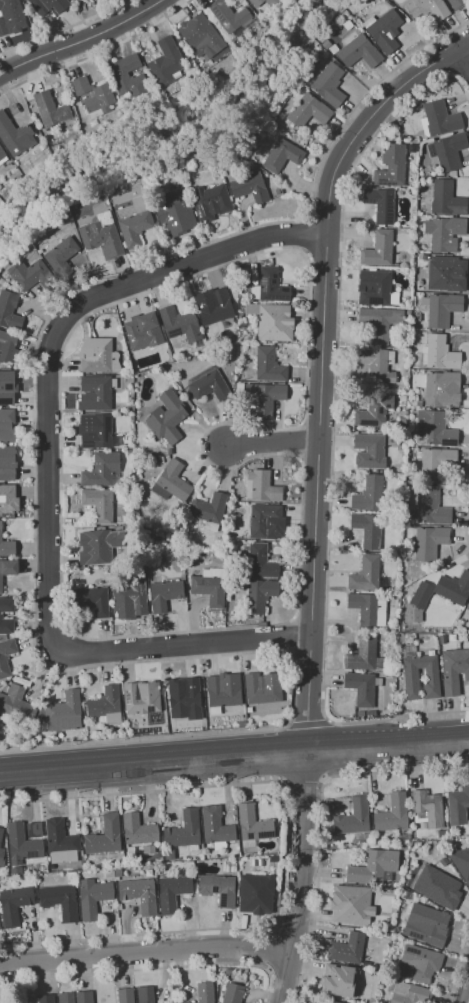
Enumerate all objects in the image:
building: (260, 3)
building: (456, 4)
building: (48, 6)
building: (427, 8)
building: (8, 13)
building: (227, 16)
building: (383, 30)
building: (200, 36)
road: (80, 40)
building: (359, 52)
road: (465, 57)
building: (165, 63)
building: (126, 77)
building: (328, 85)
building: (102, 93)
building: (50, 109)
building: (308, 111)
building: (438, 119)
building: (14, 136)
building: (448, 151)
building: (281, 155)
building: (5, 161)
building: (391, 167)
building: (249, 187)
building: (445, 199)
building: (210, 202)
building: (380, 205)
building: (176, 213)
building: (133, 222)
building: (444, 233)
building: (101, 236)
building: (378, 249)
building: (61, 257)
building: (426, 257)
building: (30, 275)
building: (443, 276)
building: (270, 287)
building: (373, 287)
building: (216, 308)
building: (441, 310)
building: (9, 311)
building: (271, 321)
building: (380, 323)
building: (179, 324)
building: (143, 332)
building: (7, 340)
building: (438, 353)
building: (95, 355)
building: (268, 365)
building: (377, 365)
road: (321, 366)
building: (208, 386)
building: (238, 388)
building: (442, 389)
building: (94, 393)
building: (5, 396)
building: (265, 398)
building: (373, 411)
building: (166, 417)
building: (6, 425)
building: (434, 429)
building: (94, 431)
road: (273, 445)
building: (369, 451)
building: (435, 463)
building: (7, 464)
road: (53, 469)
building: (100, 470)
building: (170, 482)
building: (261, 487)
building: (6, 493)
building: (367, 494)
building: (98, 505)
building: (431, 508)
building: (208, 511)
building: (265, 523)
building: (367, 530)
building: (430, 541)
building: (6, 546)
building: (98, 546)
building: (259, 562)
building: (7, 570)
building: (367, 576)
building: (209, 586)
building: (441, 591)
building: (132, 594)
building: (163, 594)
building: (259, 594)
building: (94, 600)
building: (6, 605)
building: (468, 607)
building: (368, 609)
building: (5, 625)
building: (6, 656)
building: (364, 656)
building: (454, 669)
building: (410, 674)
building: (262, 688)
building: (362, 688)
building: (223, 690)
building: (141, 698)
building: (186, 700)
building: (15, 706)
building: (105, 706)
building: (64, 712)
road: (397, 718)
road: (307, 723)
road: (144, 739)
road: (234, 754)
road: (303, 777)
road: (322, 778)
road: (285, 780)
building: (458, 805)
building: (427, 809)
building: (393, 814)
building: (353, 817)
road: (320, 819)
building: (252, 825)
building: (216, 828)
building: (32, 830)
building: (138, 830)
building: (184, 831)
building: (441, 834)
building: (1, 835)
building: (104, 836)
building: (402, 837)
building: (61, 842)
building: (21, 844)
road: (284, 853)
building: (167, 855)
building: (2, 857)
building: (445, 862)
building: (461, 862)
building: (229, 866)
building: (373, 867)
building: (117, 871)
building: (148, 873)
building: (109, 874)
road: (300, 876)
building: (72, 878)
building: (437, 887)
building: (218, 890)
building: (173, 892)
building: (256, 894)
building: (139, 895)
building: (405, 895)
building: (92, 897)
building: (60, 901)
building: (14, 905)
building: (350, 905)
building: (426, 925)
road: (292, 936)
building: (347, 949)
road: (271, 951)
road: (145, 952)
road: (458, 961)
building: (418, 963)
road: (149, 969)
building: (228, 972)
road: (286, 973)
building: (340, 980)
building: (205, 993)
building: (233, 993)
building: (408, 993)
road: (466, 994)
building: (125, 995)
building: (145, 995)
building: (84, 997)
building: (66, 998)
building: (39, 999)
building: (185, 1002)
building: (334, 1002)

